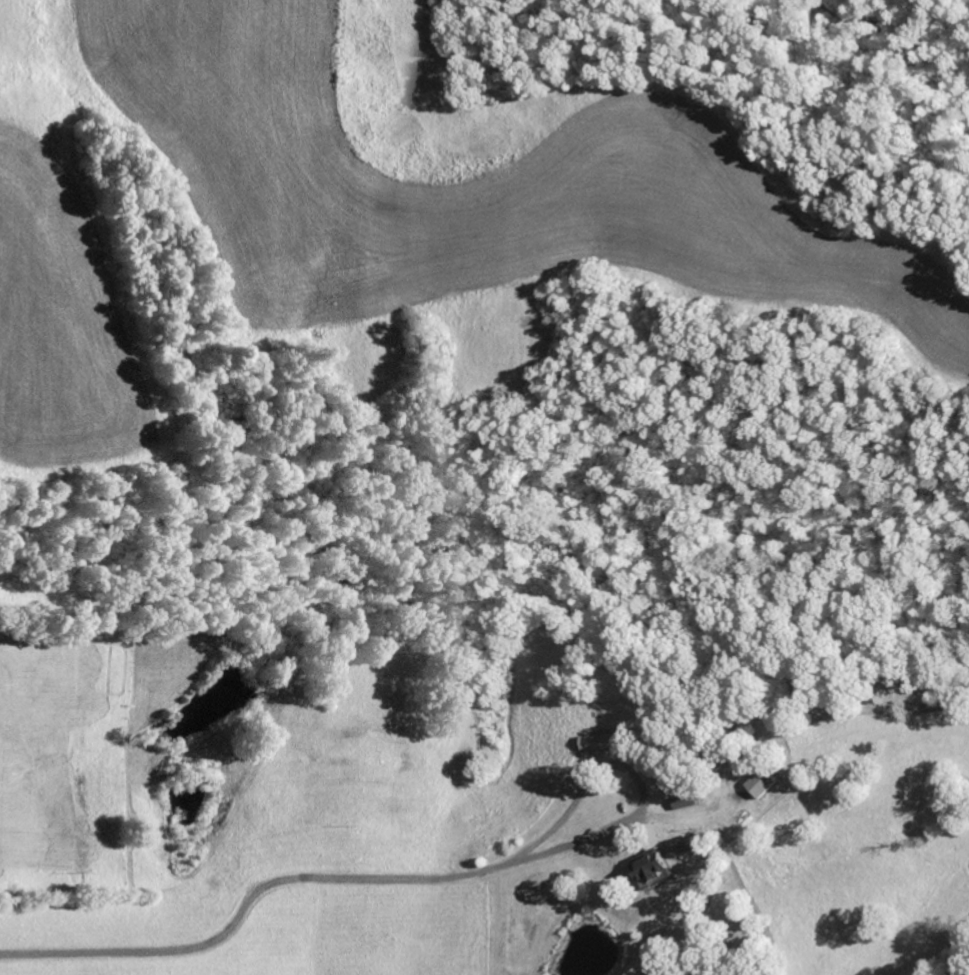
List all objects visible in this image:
building: (607, 743)
building: (768, 784)
building: (689, 802)
building: (656, 868)

